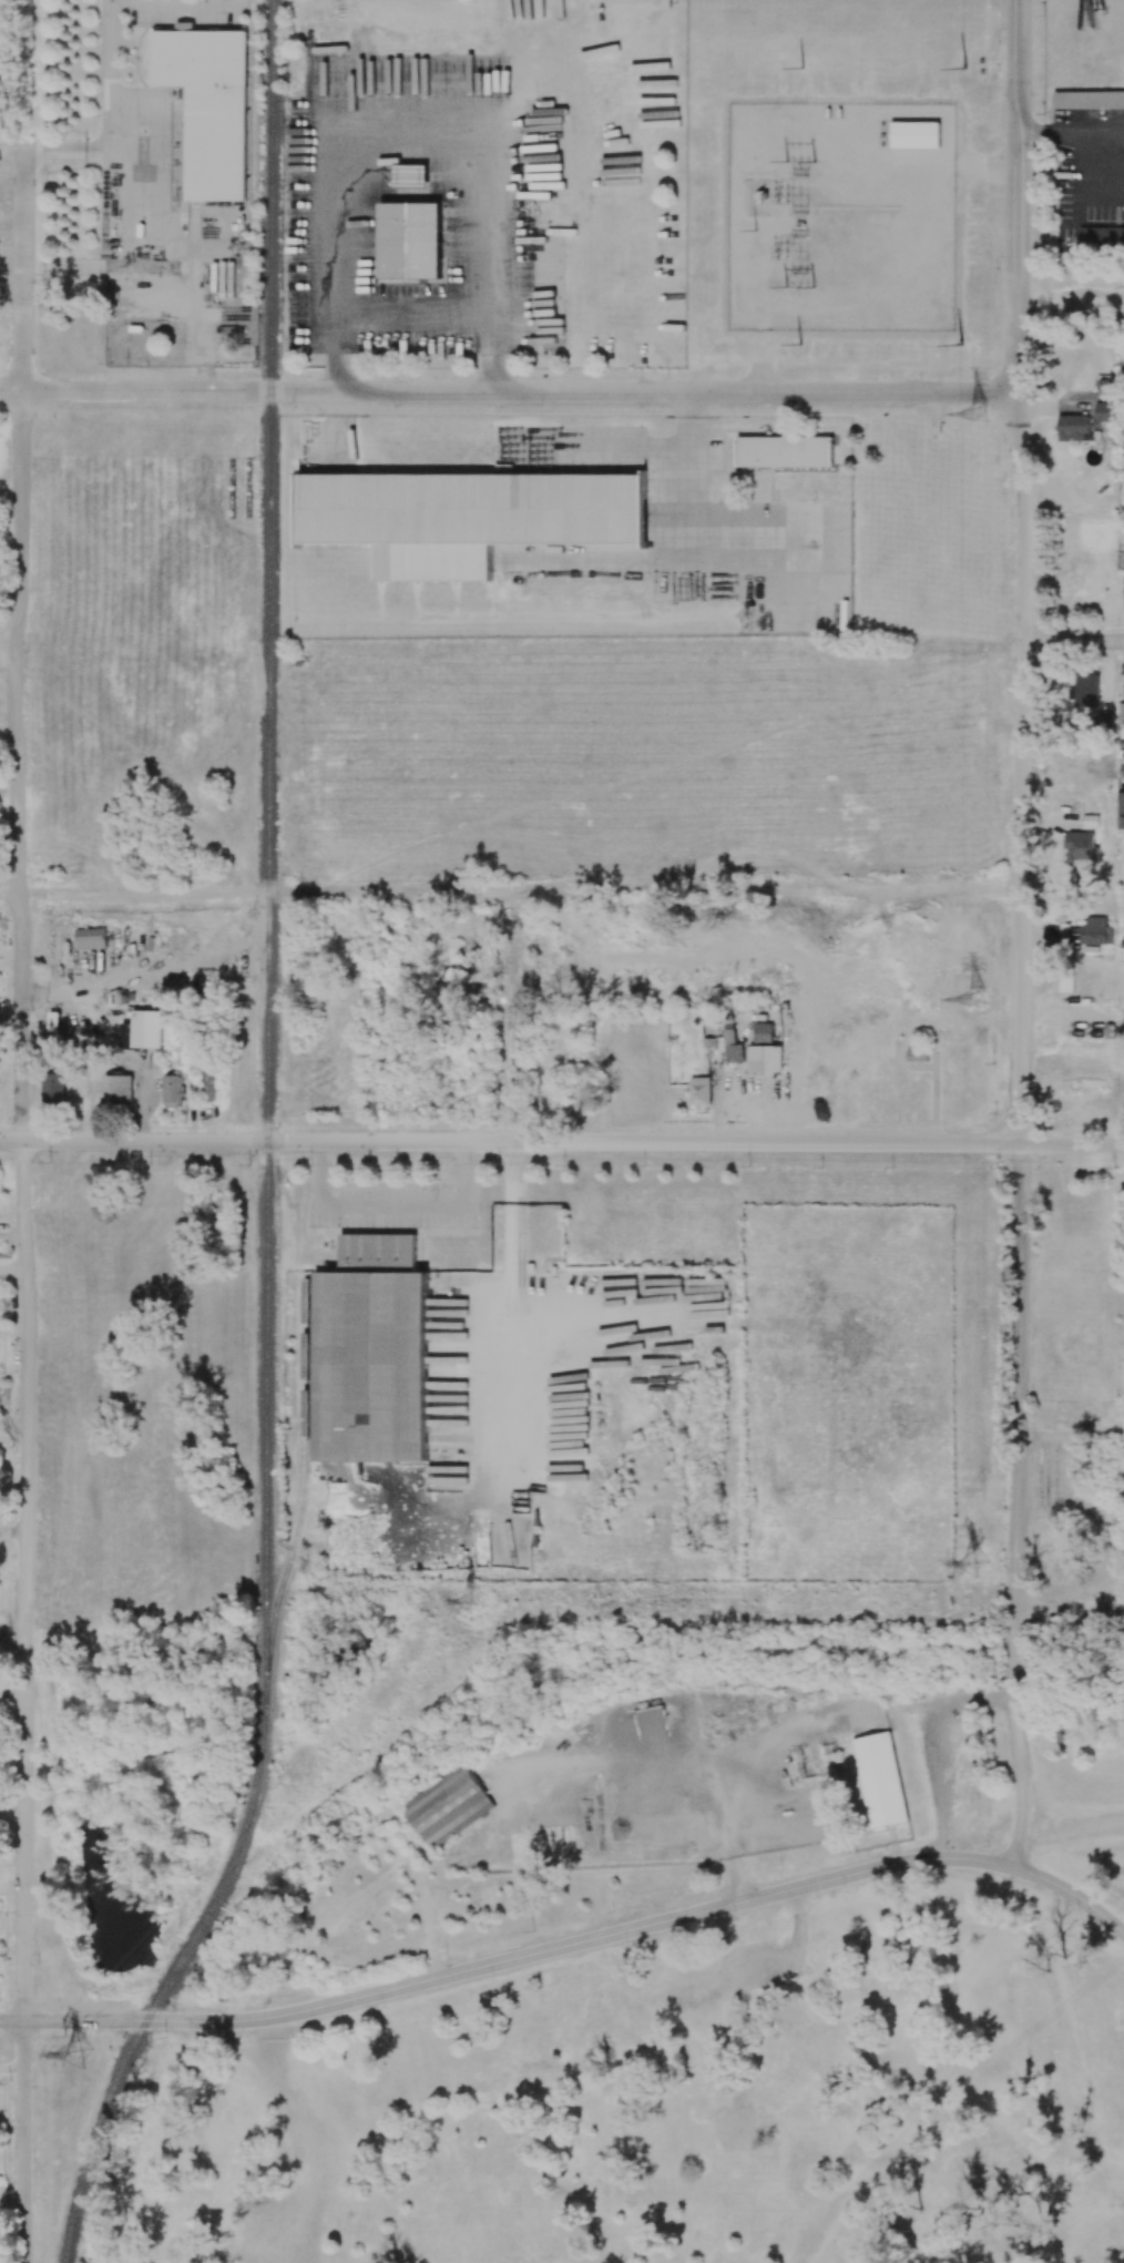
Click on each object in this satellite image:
road: (1019, 38)
street lamp: (999, 45)
power tower: (800, 68)
power tower: (964, 68)
park: (11, 70)
road: (115, 73)
building: (1089, 100)
building: (208, 105)
road: (1019, 120)
building: (916, 134)
road: (415, 135)
road: (1, 156)
power tower: (807, 160)
street lamp: (1034, 160)
road: (161, 164)
building: (411, 175)
power substation: (842, 217)
road: (1018, 232)
building: (1102, 238)
building: (410, 239)
street lamp: (998, 272)
power tower: (806, 286)
road: (1070, 306)
power tower: (961, 343)
power tower: (799, 345)
street lamp: (922, 377)
road: (509, 391)
building: (1105, 411)
power tower: (981, 414)
building: (1074, 428)
building: (1123, 435)
road: (594, 449)
building: (785, 451)
street lamp: (1004, 480)
building: (468, 517)
road: (685, 543)
street lamp: (1040, 625)
road: (1073, 641)
road: (9, 644)
building: (1087, 690)
building: (1121, 713)
road: (1023, 721)
street lamp: (1036, 777)
building: (1121, 803)
building: (1121, 822)
railway: (270, 839)
building: (1081, 846)
road: (552, 888)
road: (9, 890)
building: (1096, 931)
building: (91, 938)
building: (1123, 942)
street lamp: (1035, 961)
power tower: (978, 999)
road: (10, 1016)
road: (517, 1016)
building: (147, 1028)
building: (763, 1032)
building: (1122, 1033)
building: (732, 1047)
building: (917, 1054)
building: (765, 1059)
building: (210, 1087)
road: (21, 1088)
building: (116, 1089)
building: (53, 1090)
building: (699, 1090)
building: (172, 1091)
road: (511, 1142)
road: (1072, 1144)
street lamp: (254, 1156)
street lamp: (51, 1161)
street lamp: (497, 1163)
street lamp: (748, 1164)
street lamp: (998, 1168)
street lamp: (439, 1179)
street lamp: (352, 1180)
road: (396, 1204)
building: (371, 1353)
railway: (305, 1482)
road: (1018, 1507)
power tower: (974, 1563)
power tower: (472, 1602)
road: (1070, 1613)
road: (12, 1637)
park: (365, 1716)
building: (880, 1780)
building: (448, 1806)
park: (126, 1851)
road: (1071, 1894)
road: (625, 1930)
railway: (176, 1973)
park: (672, 1995)
road: (12, 2021)
road: (133, 2021)
power tower: (76, 2053)
road: (12, 2068)
road: (23, 2142)

